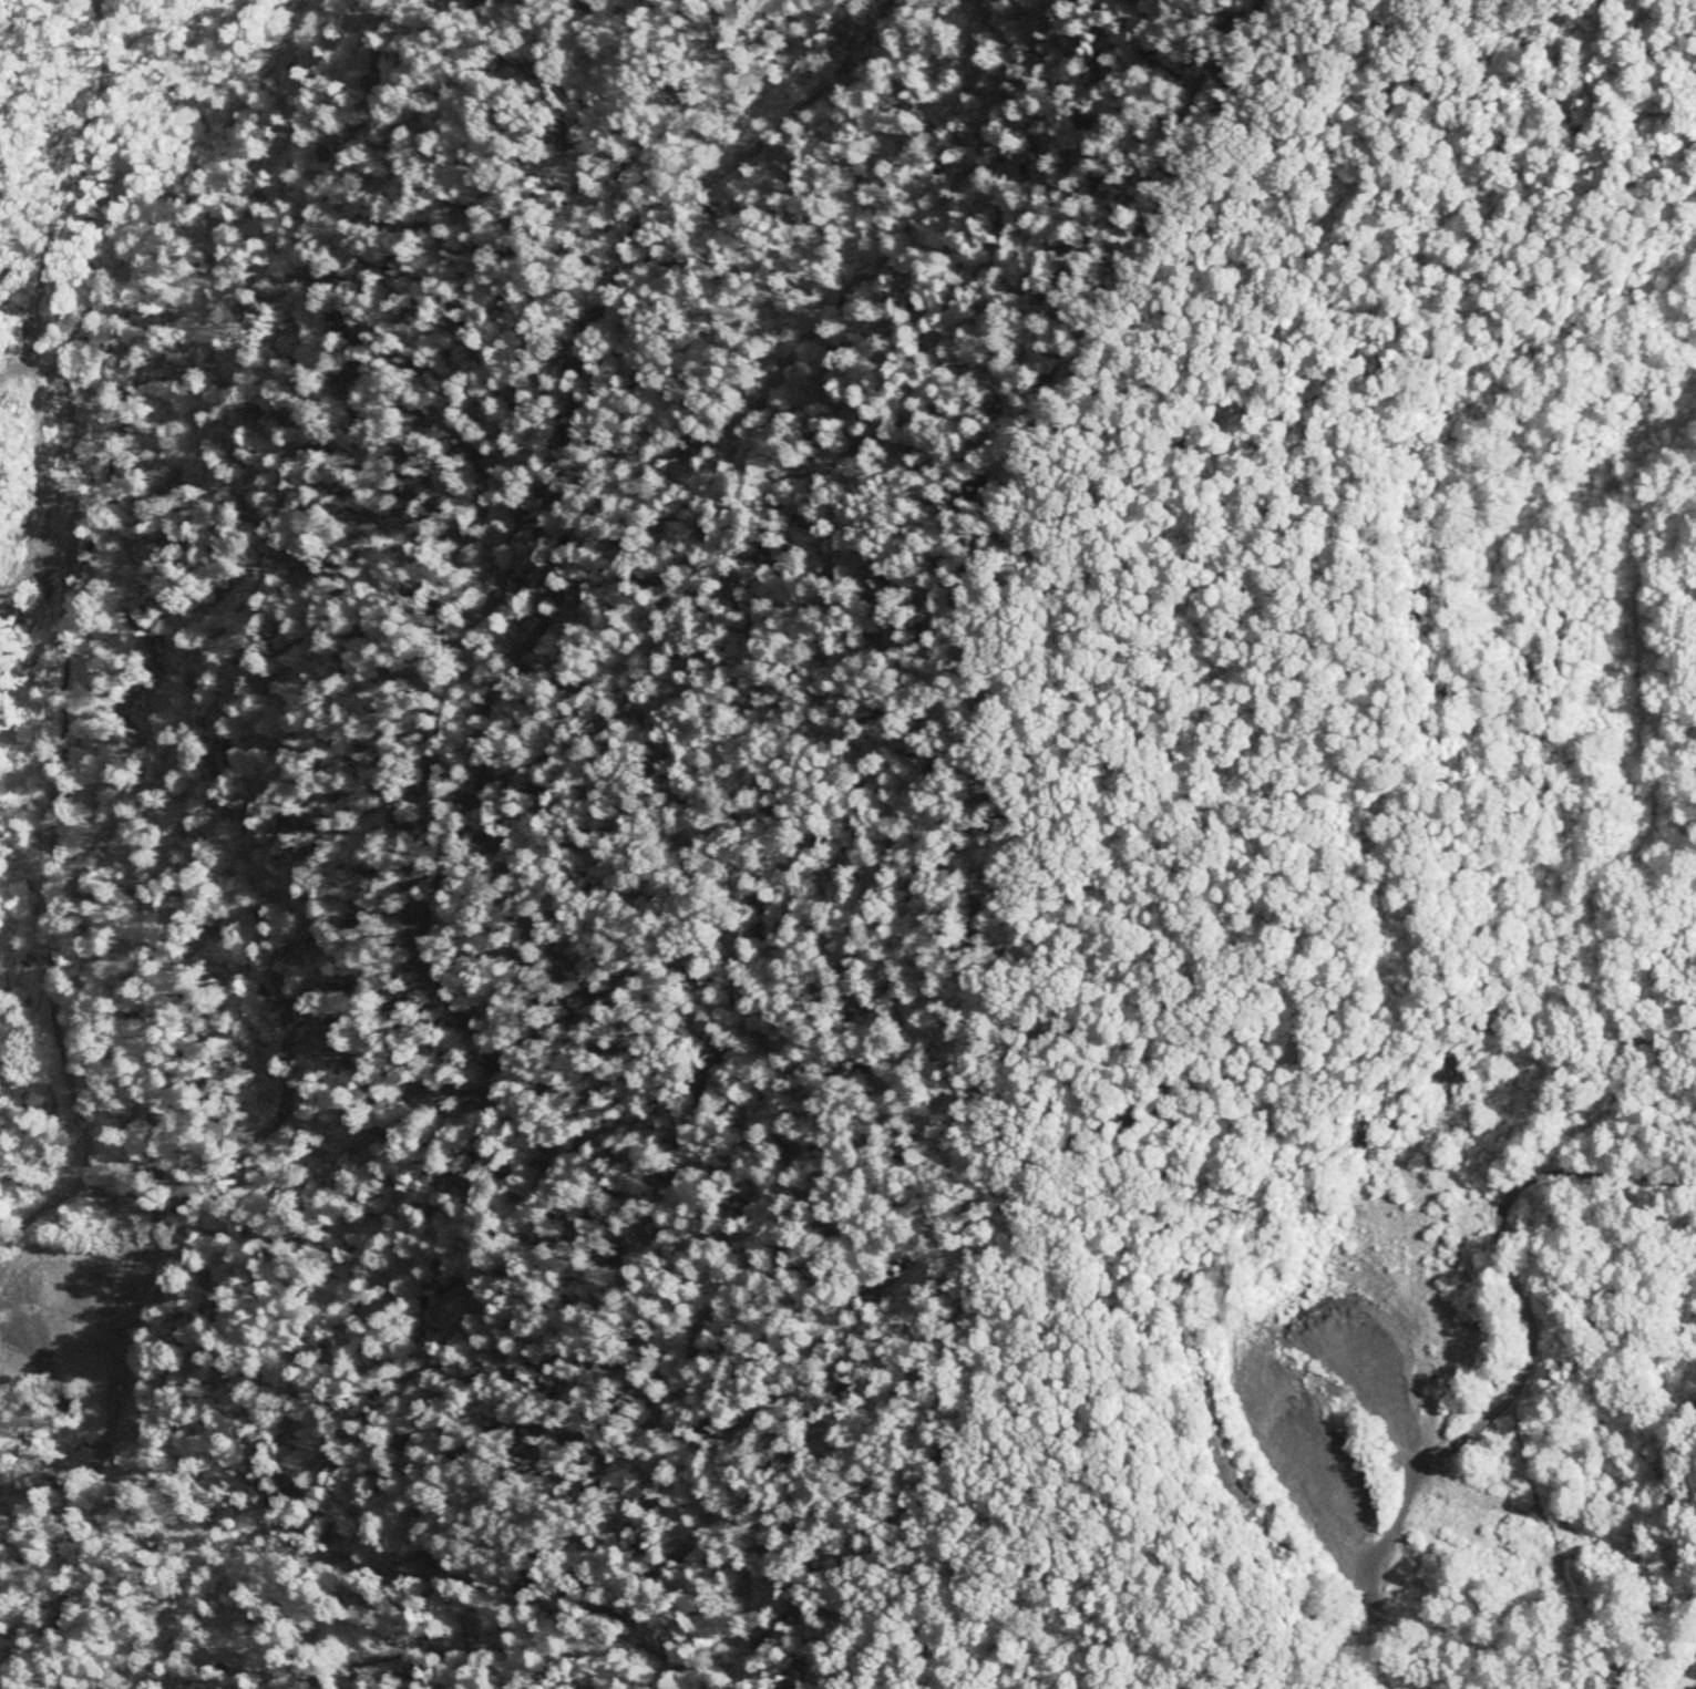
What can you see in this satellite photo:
road: (1534, 836)
road: (1556, 1196)
road: (1436, 1386)

